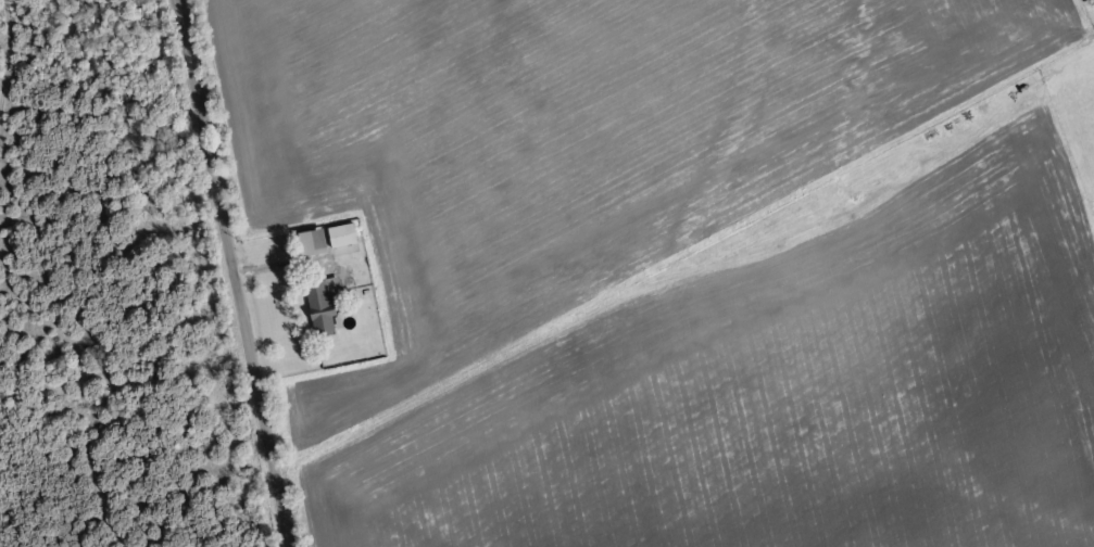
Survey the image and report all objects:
building: (344, 234)
road: (228, 273)
building: (326, 305)

